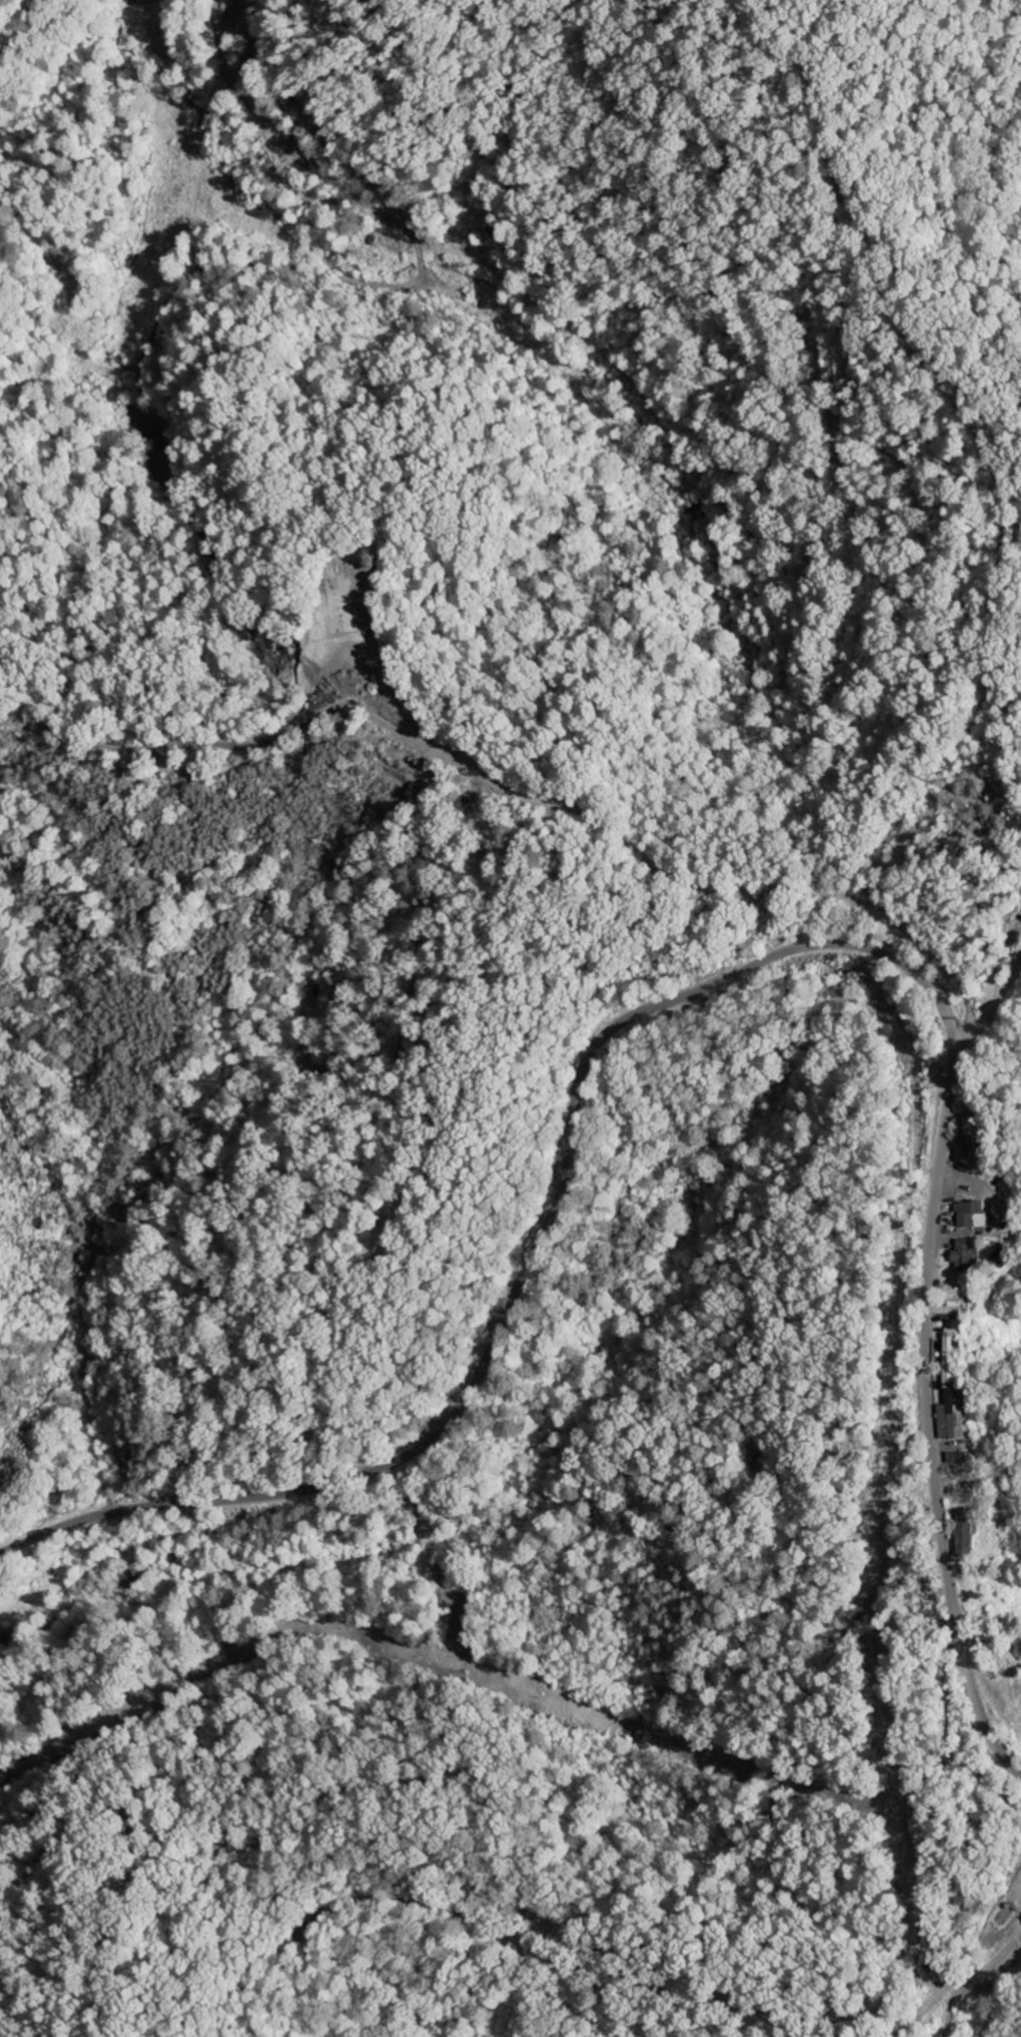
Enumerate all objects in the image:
road: (26, 18)
road: (163, 227)
road: (585, 227)
park: (351, 588)
road: (686, 885)
road: (726, 979)
road: (995, 987)
building: (969, 1216)
building: (961, 1255)
building: (944, 1358)
building: (942, 1418)
building: (959, 1533)
road: (982, 1975)

